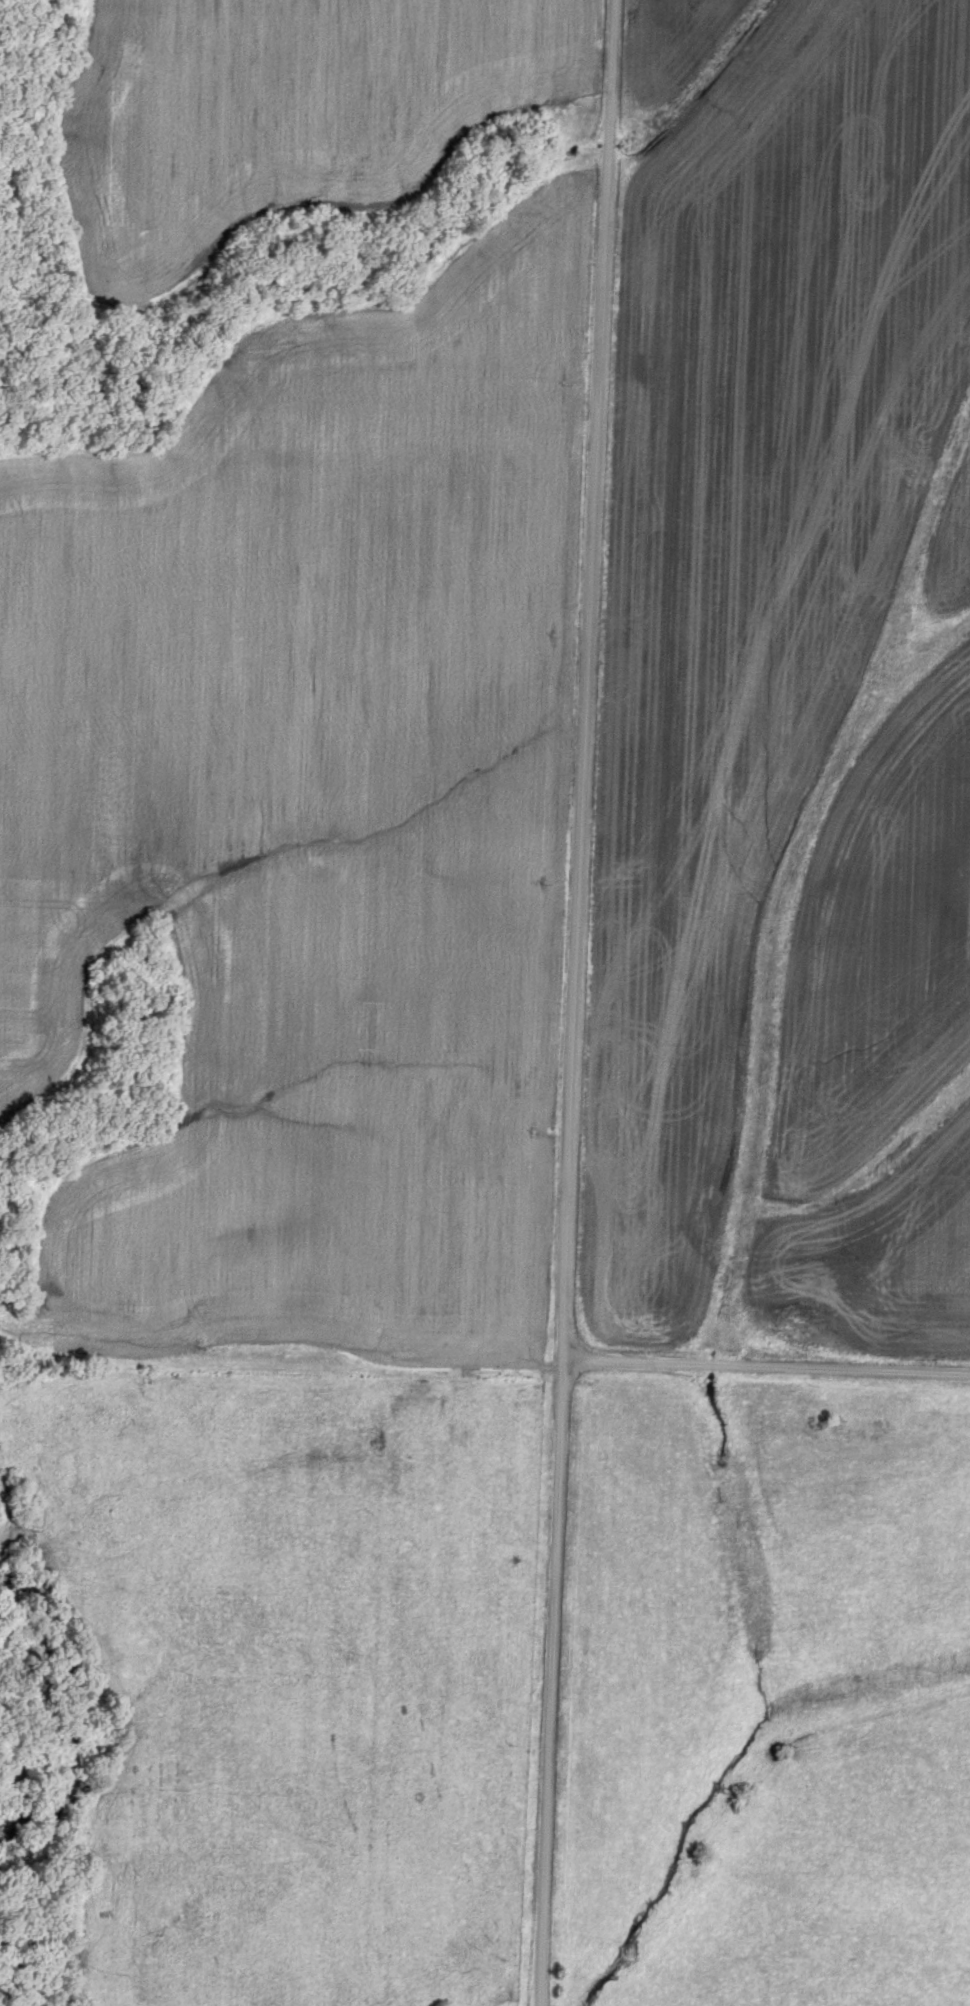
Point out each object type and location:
road: (579, 1003)
road: (768, 1369)

